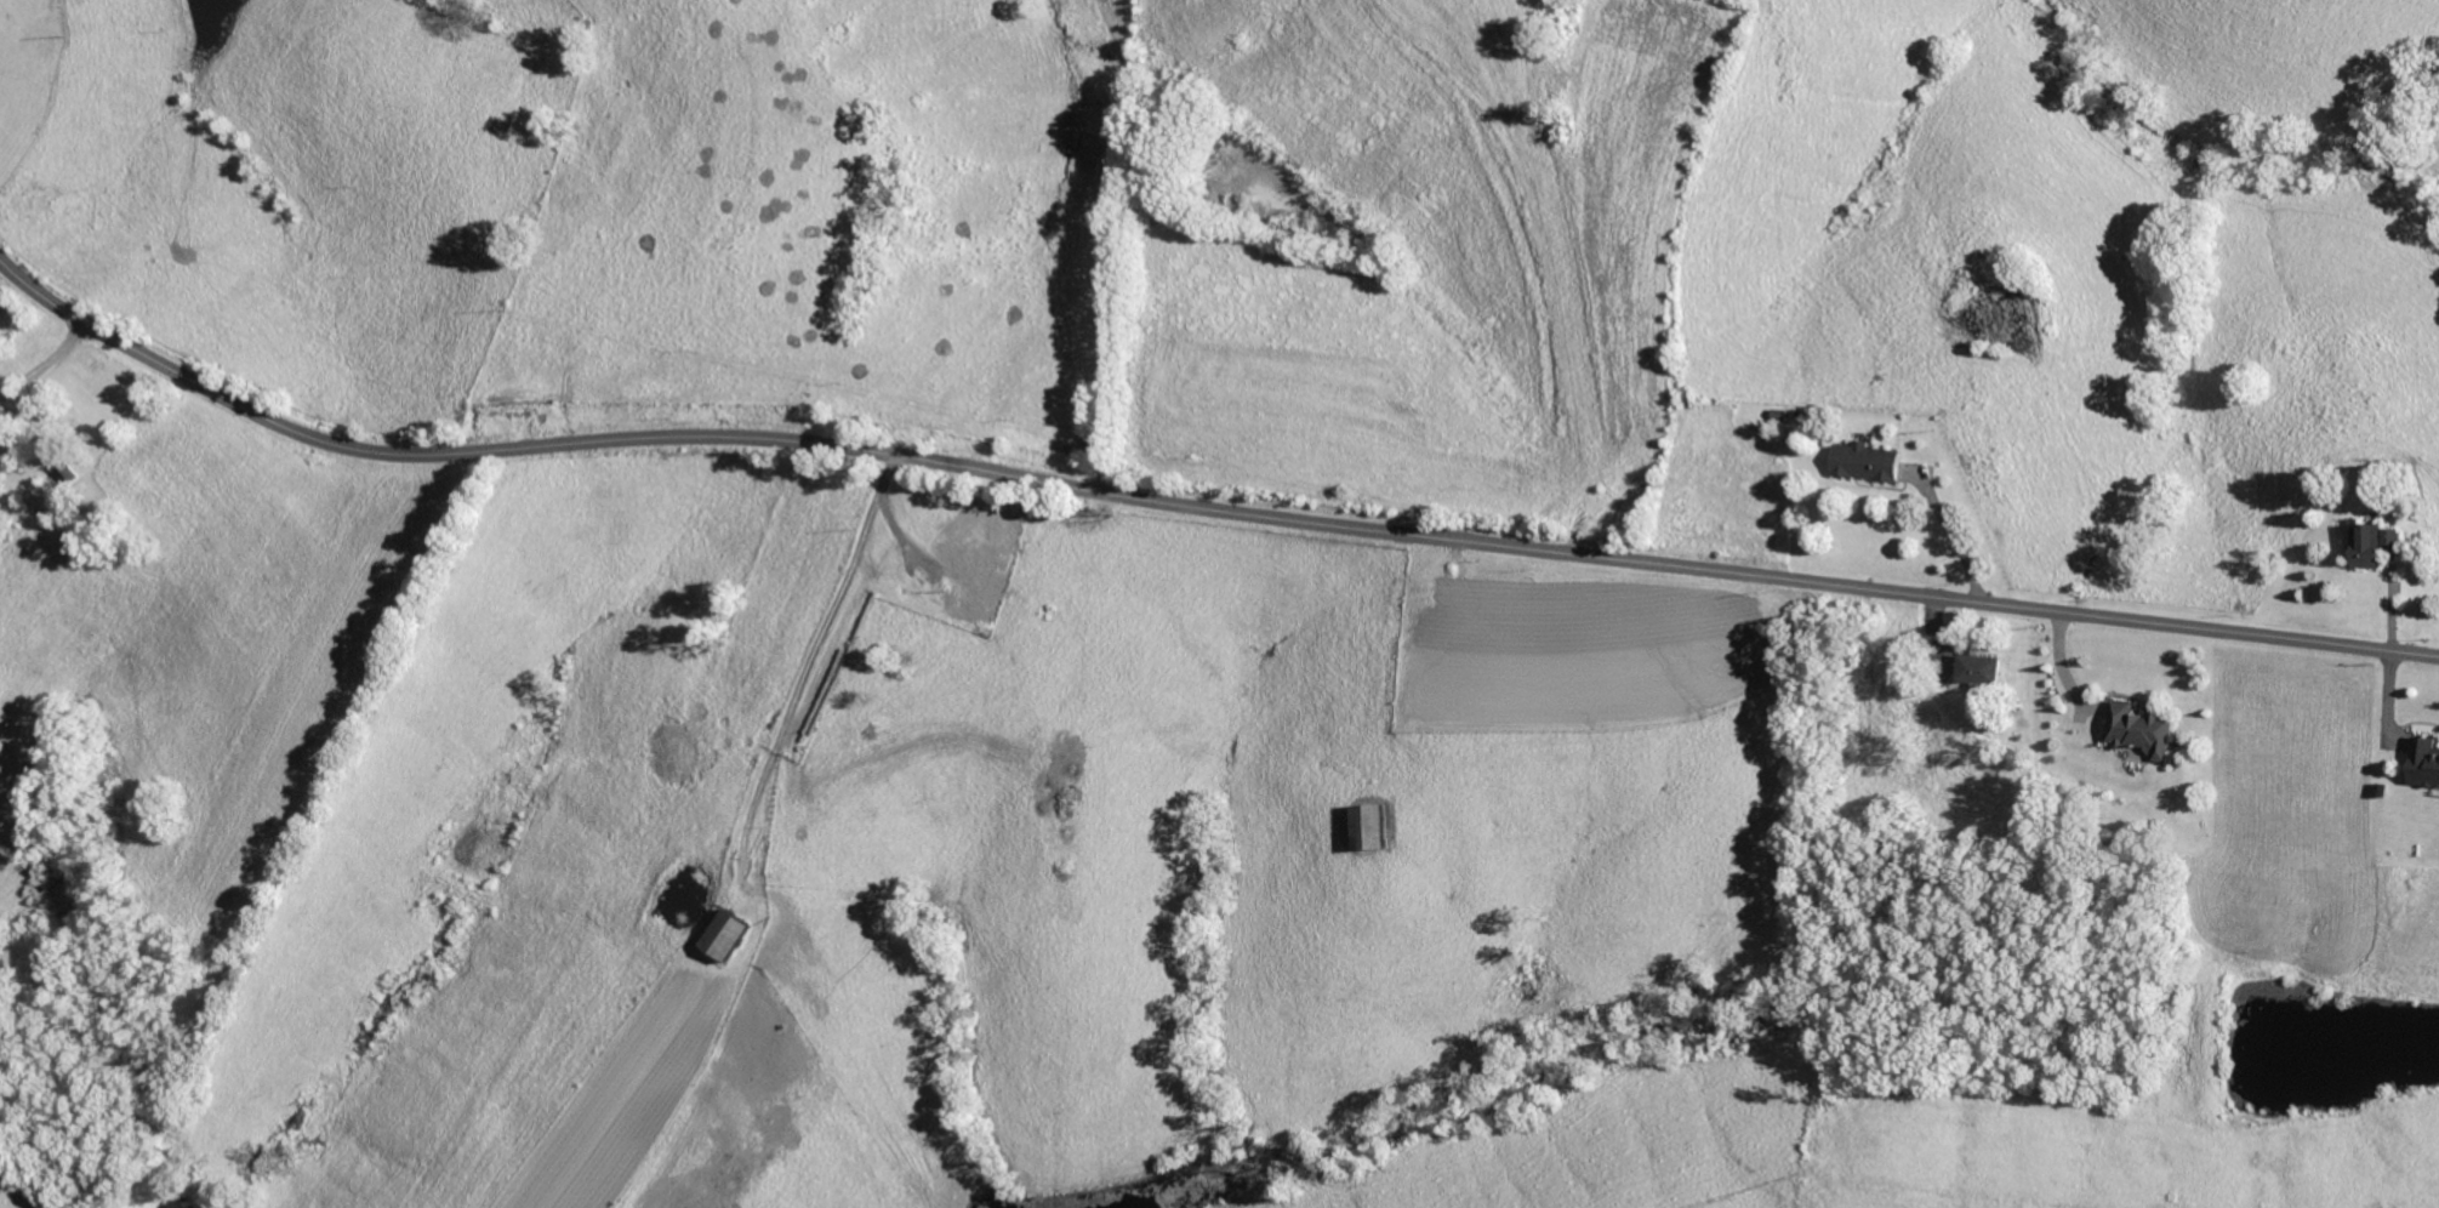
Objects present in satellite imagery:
building: (1869, 461)
building: (70, 474)
road: (1196, 502)
building: (2370, 545)
building: (1981, 668)
building: (2143, 729)
building: (1372, 827)
building: (733, 935)

